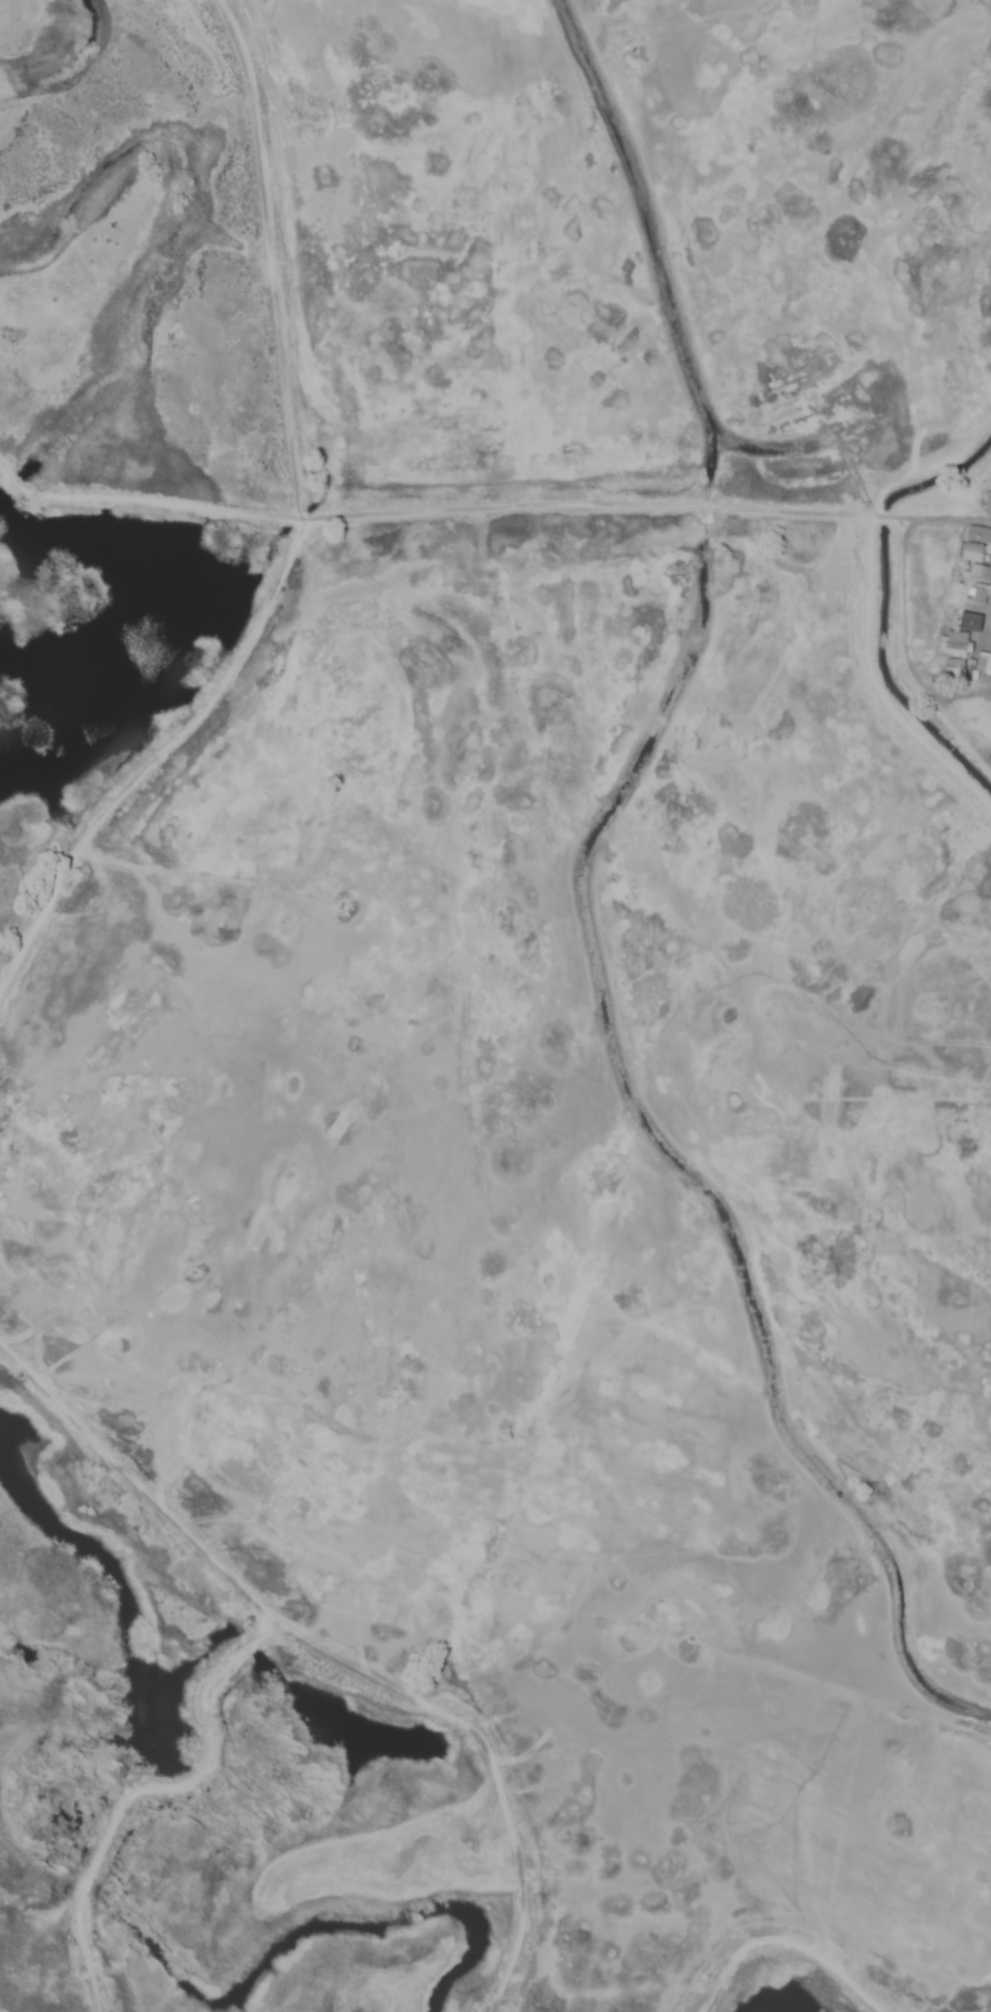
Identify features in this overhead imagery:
building: (988, 503)
building: (979, 534)
road: (896, 559)
building: (974, 560)
building: (979, 594)
building: (969, 622)
building: (956, 640)
building: (954, 667)
building: (983, 668)

